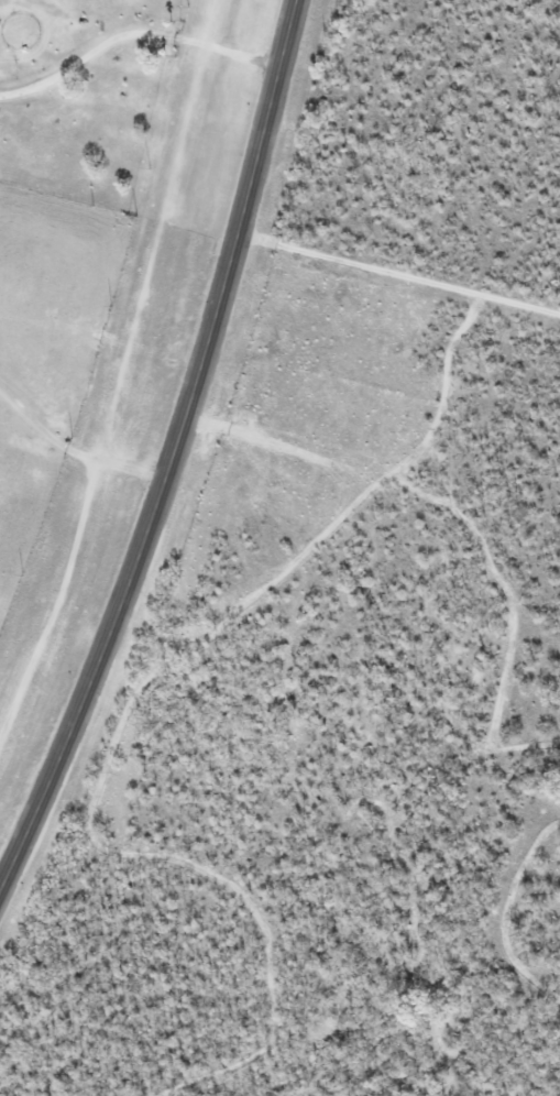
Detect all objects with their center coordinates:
road: (136, 29)
road: (400, 271)
road: (75, 445)
road: (176, 458)

